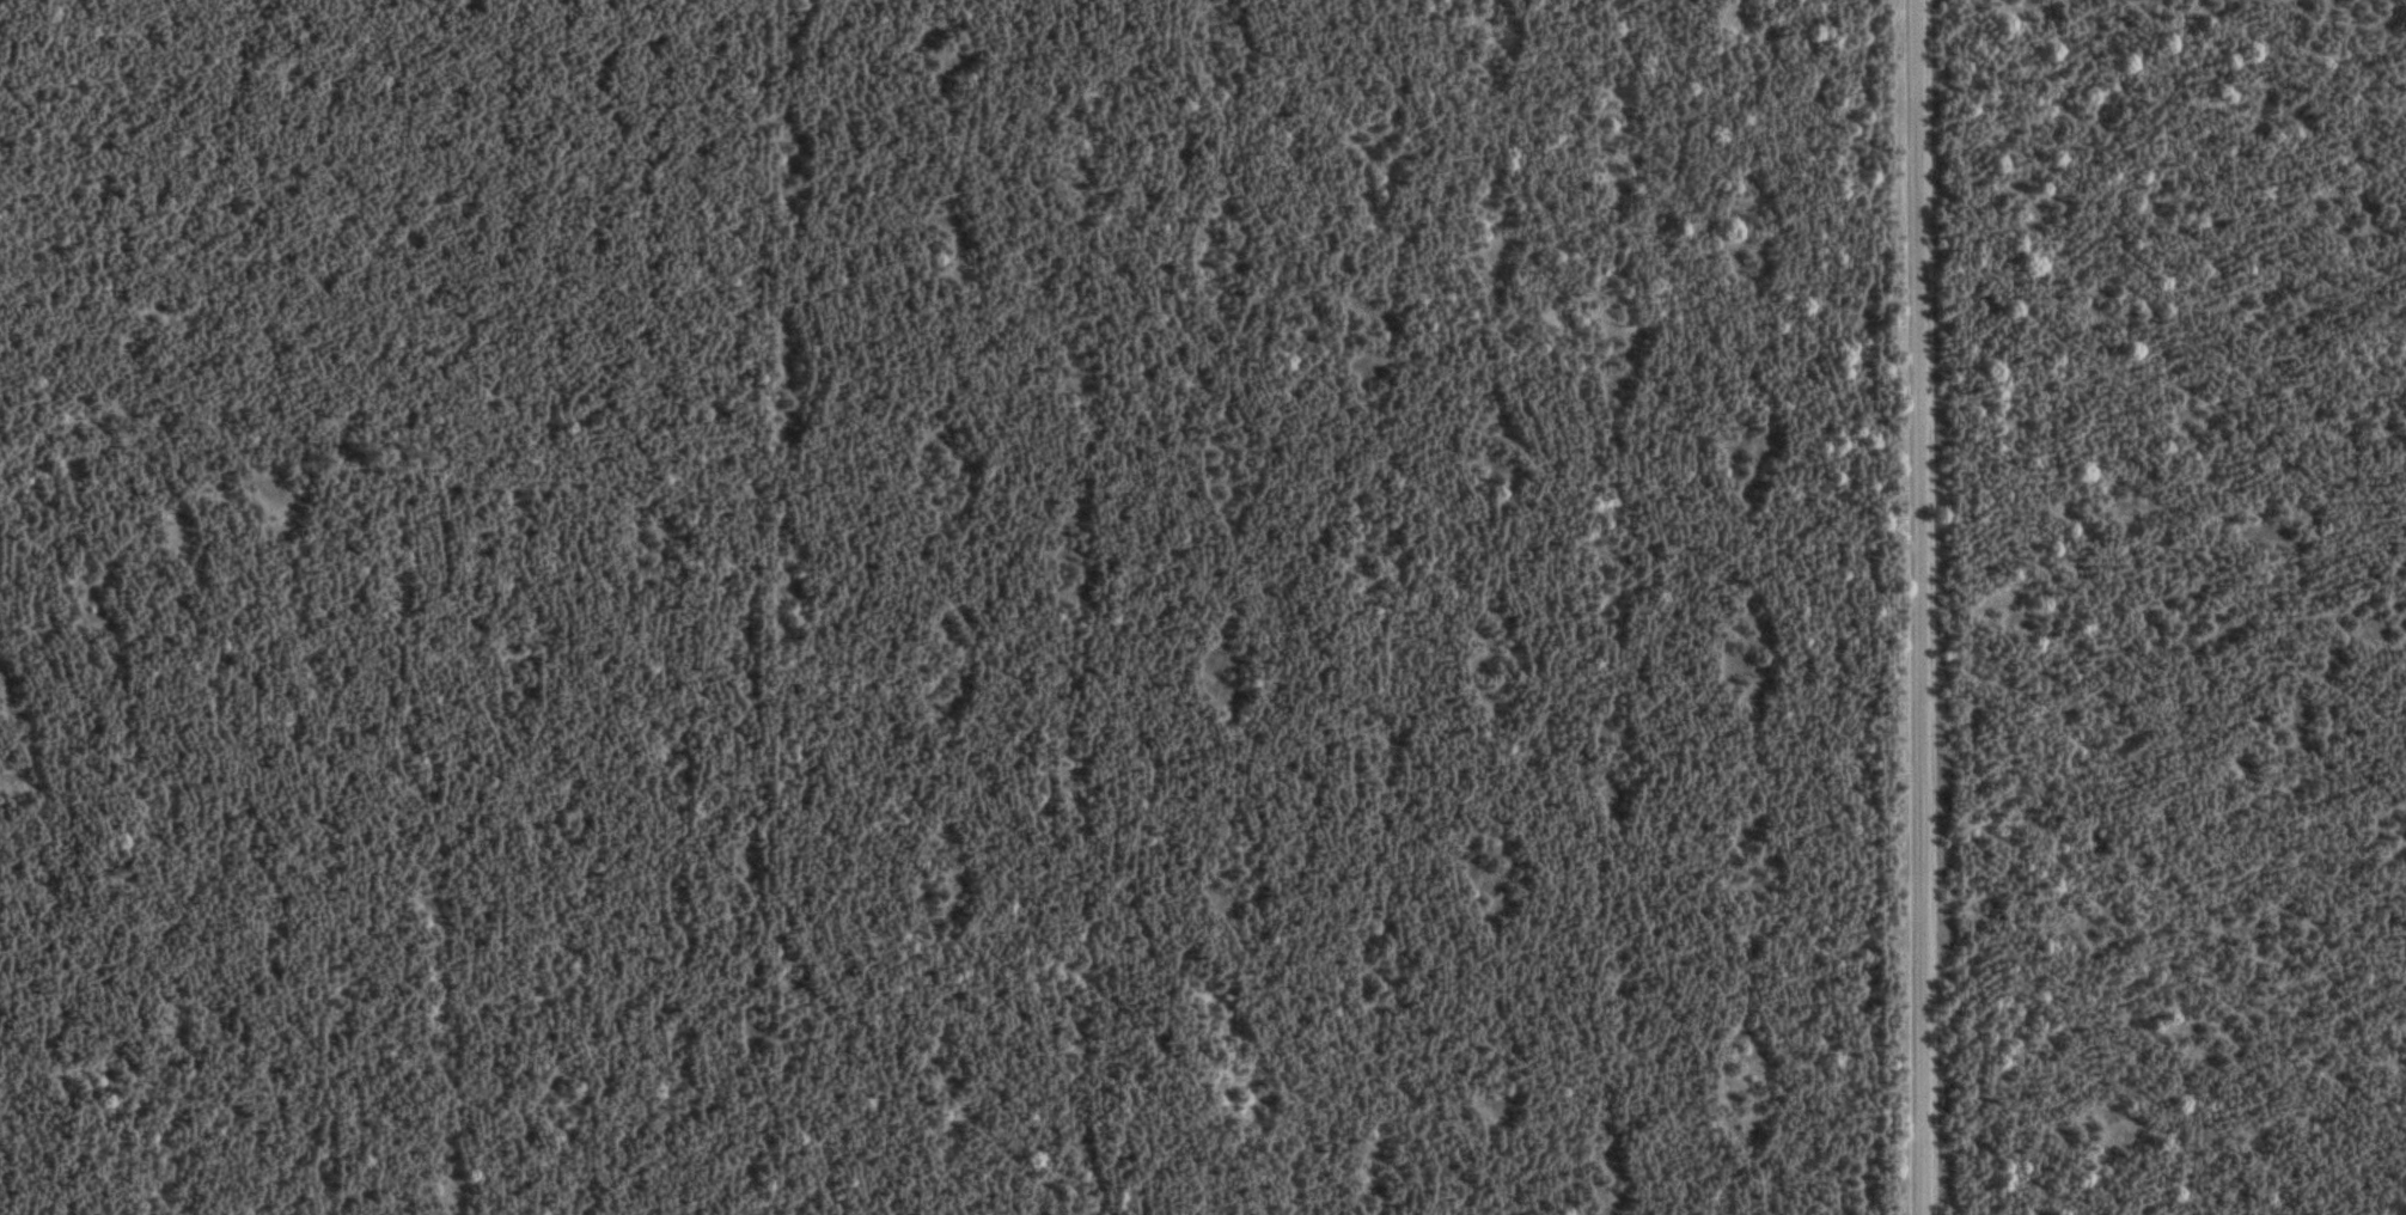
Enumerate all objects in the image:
road: (1920, 607)

